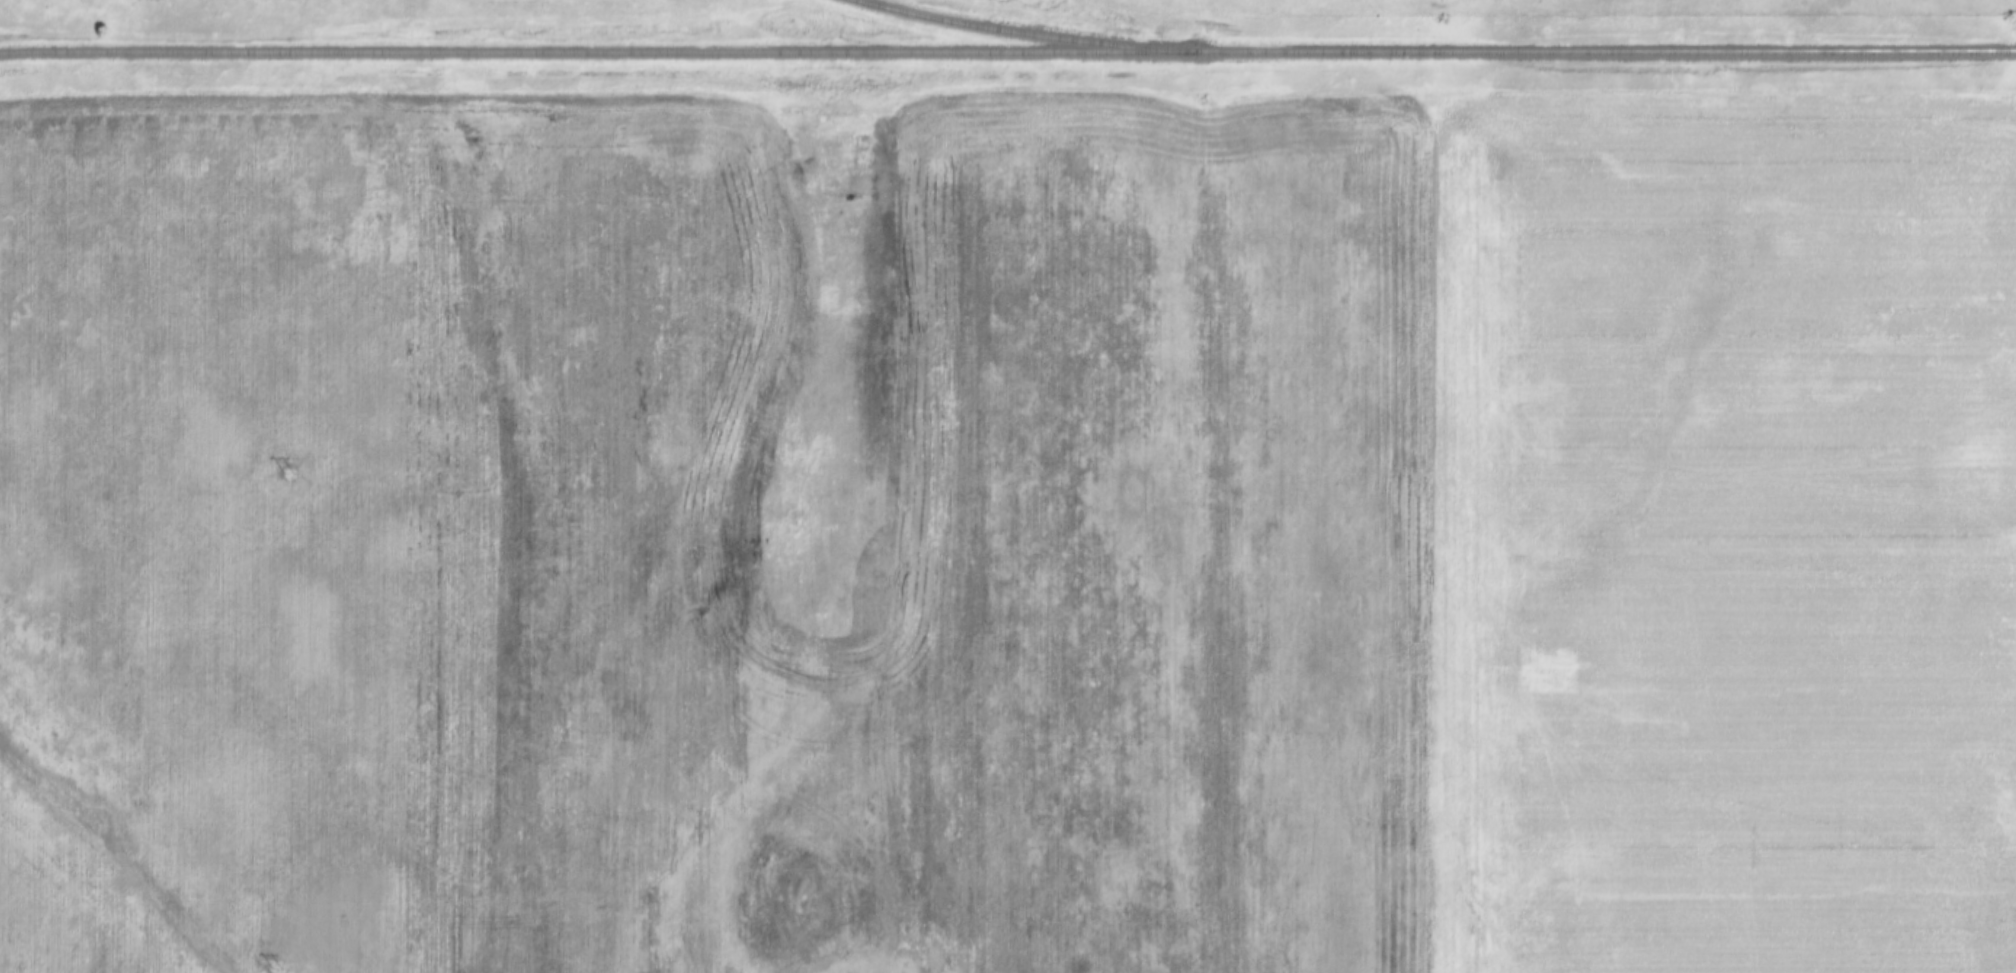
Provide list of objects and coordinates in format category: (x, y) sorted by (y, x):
railway: (1020, 36)
railway: (1007, 54)
power tower: (283, 473)
power tower: (274, 972)

